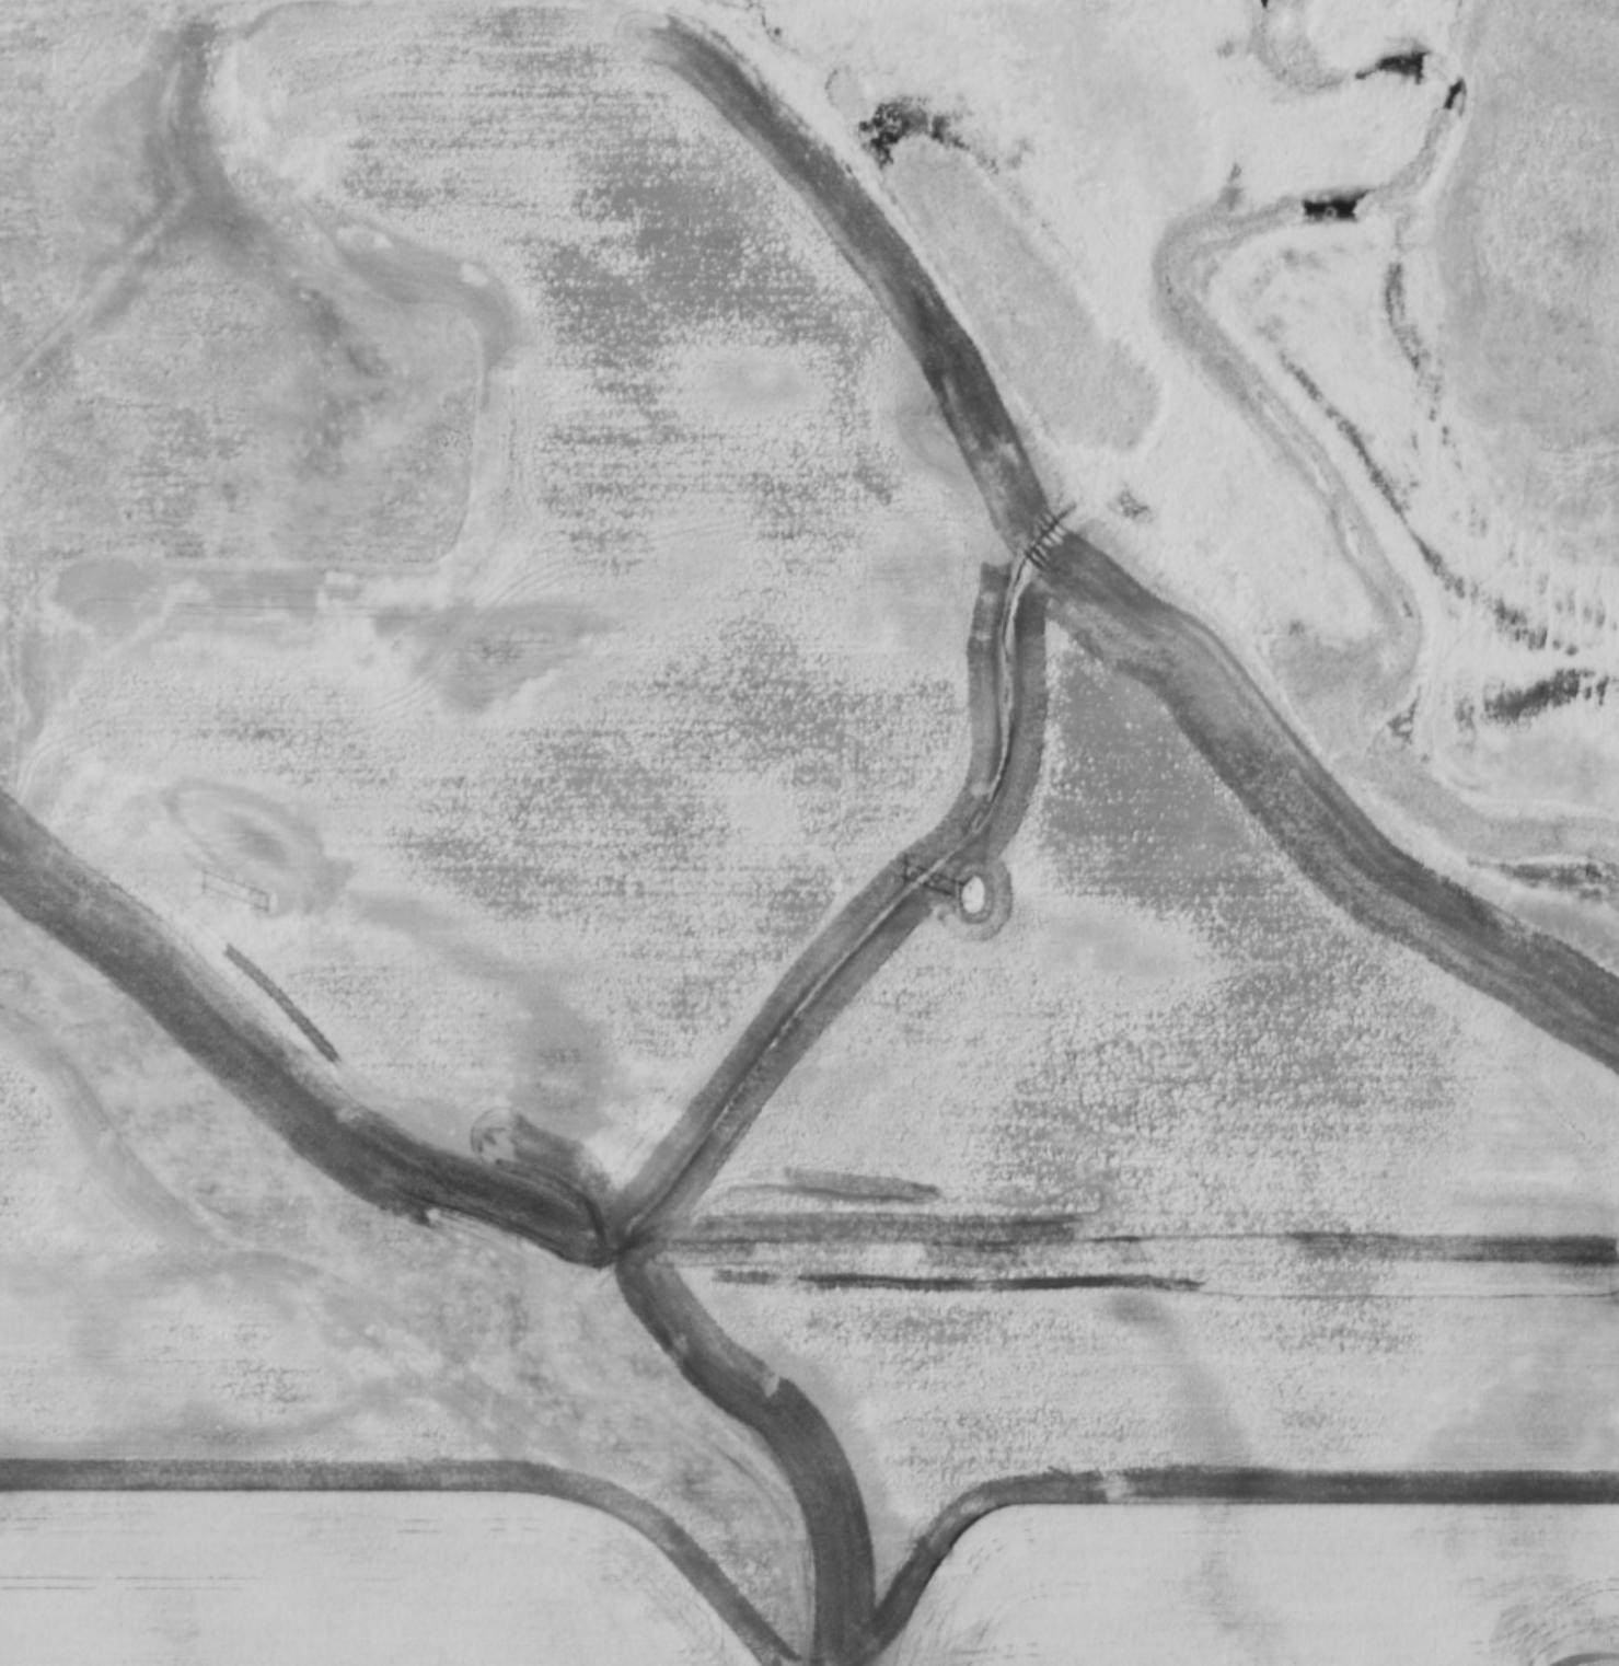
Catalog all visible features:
power tower: (969, 896)
power tower: (263, 904)

